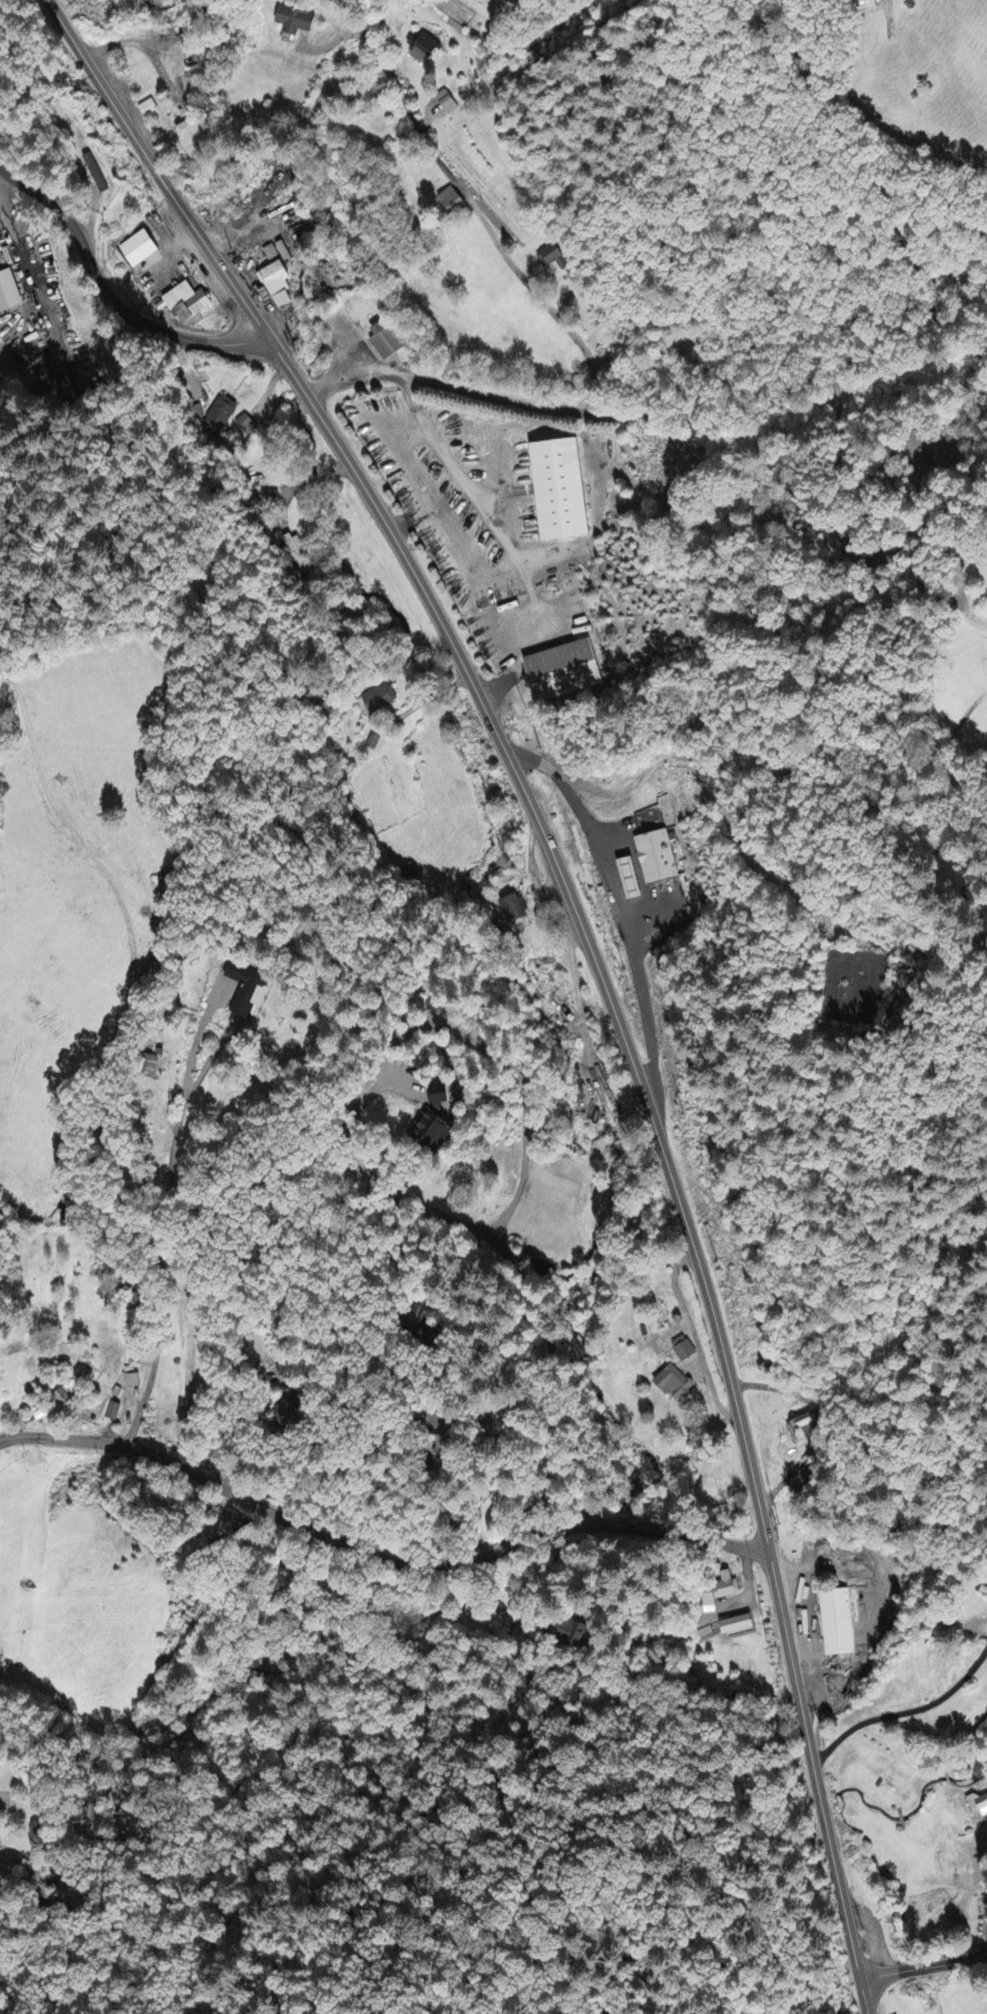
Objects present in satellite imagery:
building: (293, 24)
building: (422, 49)
building: (446, 104)
building: (147, 110)
building: (192, 142)
building: (95, 175)
building: (451, 203)
road: (471, 204)
building: (138, 251)
building: (270, 255)
building: (552, 259)
road: (104, 284)
building: (276, 287)
building: (8, 295)
building: (186, 304)
building: (385, 341)
road: (652, 414)
building: (220, 416)
building: (246, 427)
building: (559, 491)
building: (269, 498)
building: (295, 553)
building: (563, 673)
building: (380, 701)
building: (372, 743)
building: (656, 858)
building: (630, 881)
building: (166, 888)
building: (513, 910)
road: (595, 963)
building: (247, 990)
road: (581, 1075)
building: (438, 1096)
building: (433, 1131)
road: (3, 1154)
road: (524, 1304)
building: (683, 1350)
building: (286, 1373)
building: (132, 1383)
building: (673, 1385)
road: (543, 1402)
building: (64, 1403)
building: (288, 1412)
building: (112, 1413)
building: (801, 1431)
building: (443, 1447)
road: (635, 1534)
road: (467, 1562)
building: (725, 1588)
building: (984, 1591)
building: (708, 1604)
building: (836, 1626)
building: (737, 1627)
building: (570, 1634)
building: (977, 1807)
road: (928, 1978)
road: (869, 1991)

